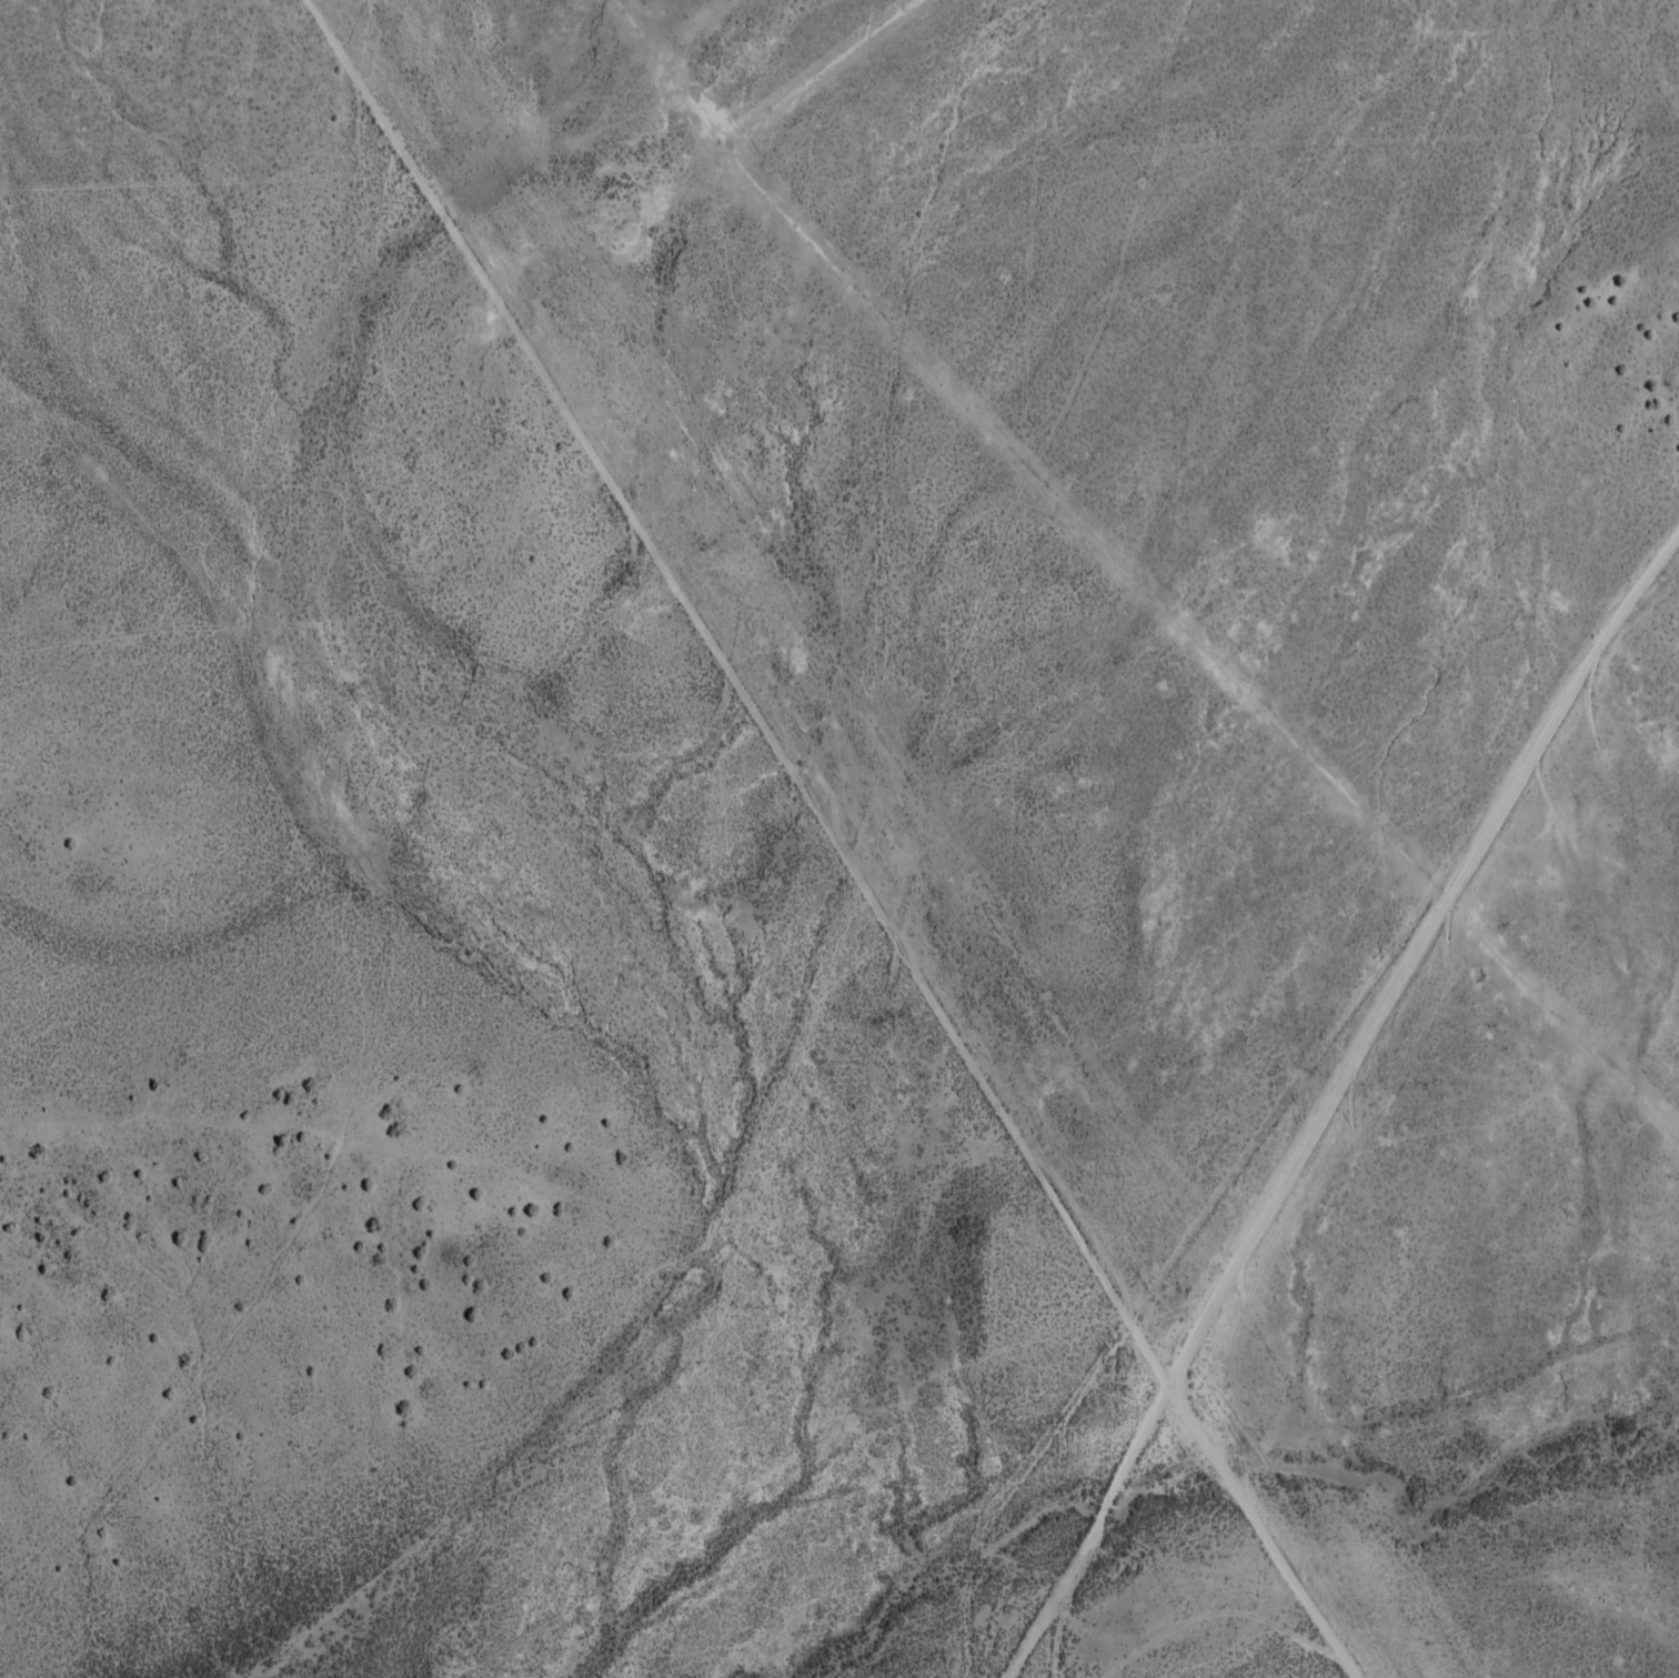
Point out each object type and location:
road: (831, 840)
road: (1329, 1103)
river: (1229, 1467)

